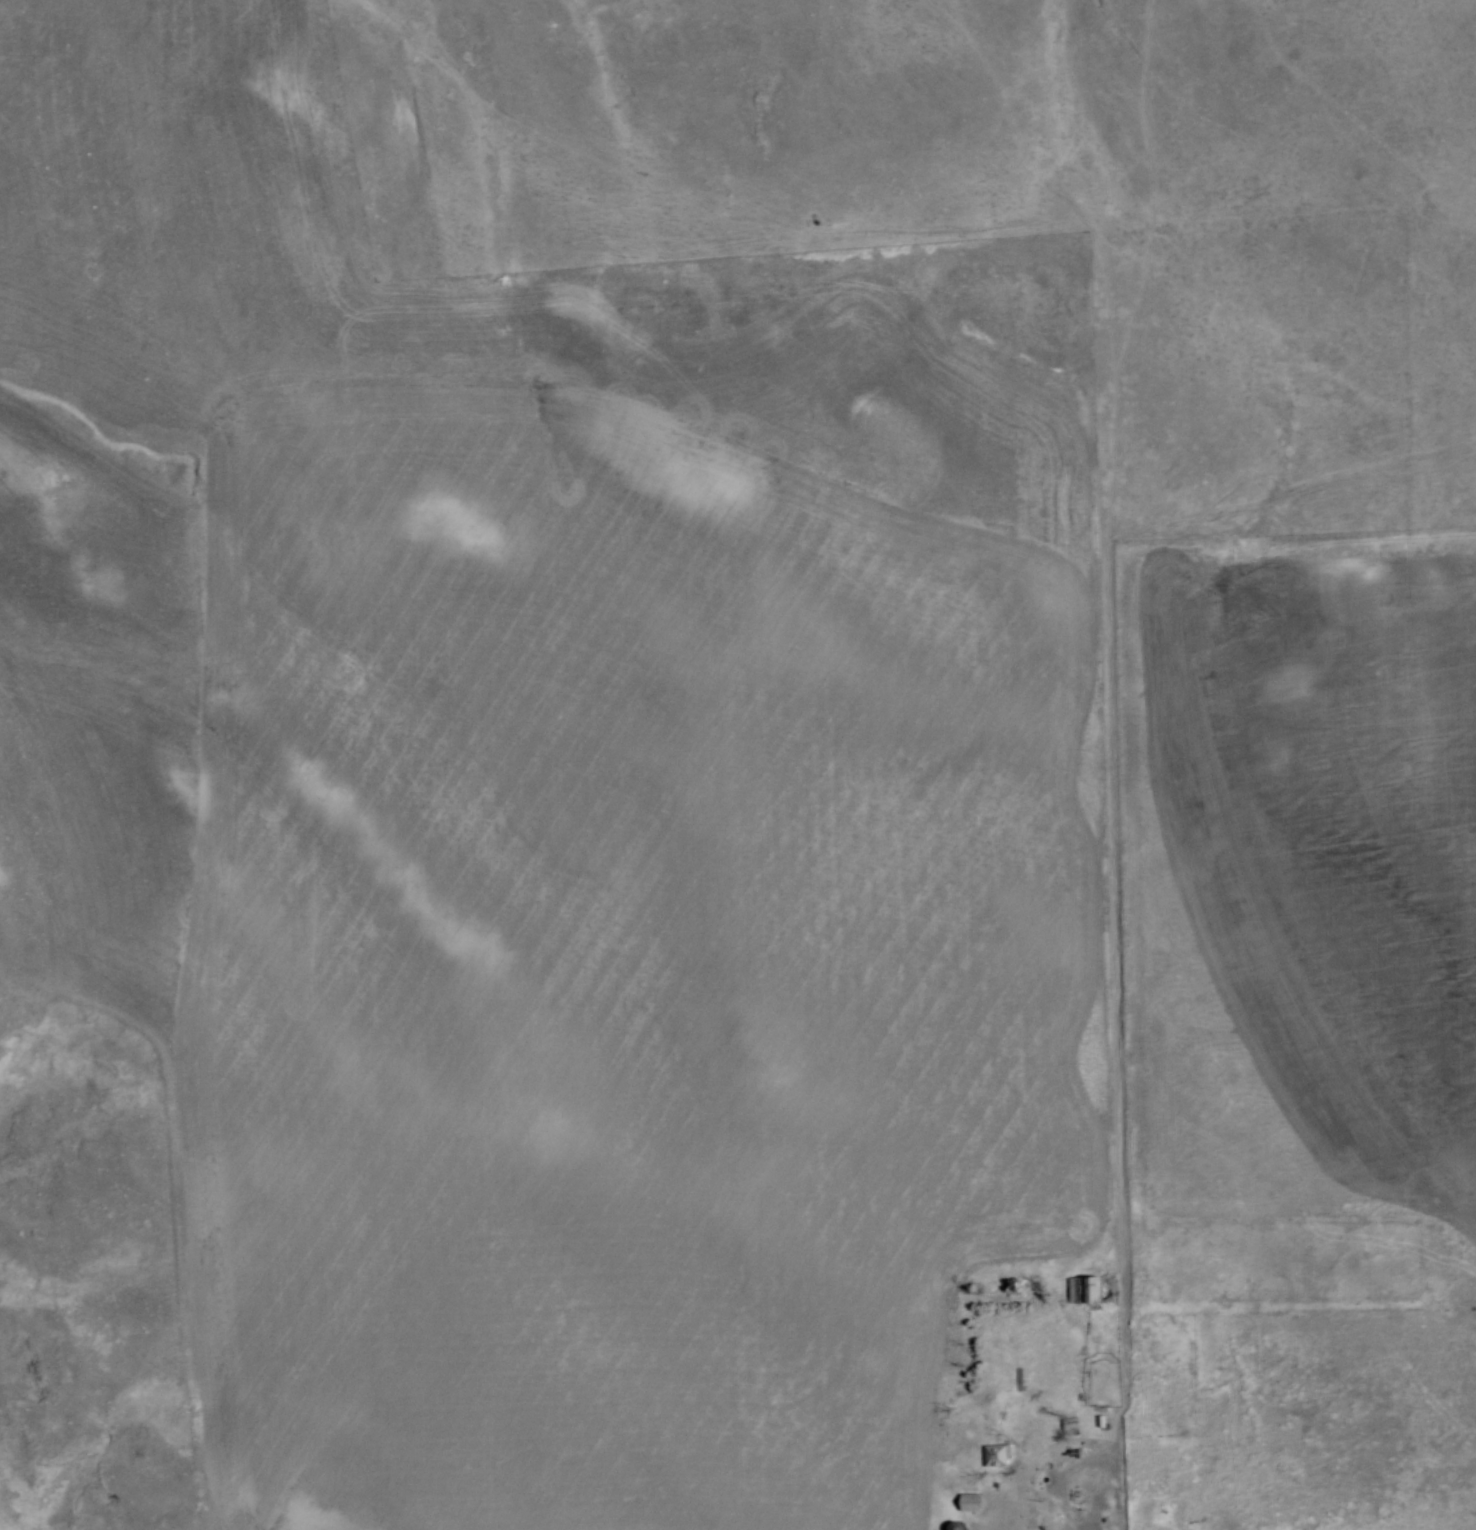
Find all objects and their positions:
crop: (534, 817)
crop: (1311, 896)
building: (1085, 1290)
crop: (1341, 1421)
building: (1070, 1423)
building: (996, 1452)
building: (970, 1499)
road: (1070, 1511)
silo: (954, 1525)
building: (956, 1526)

